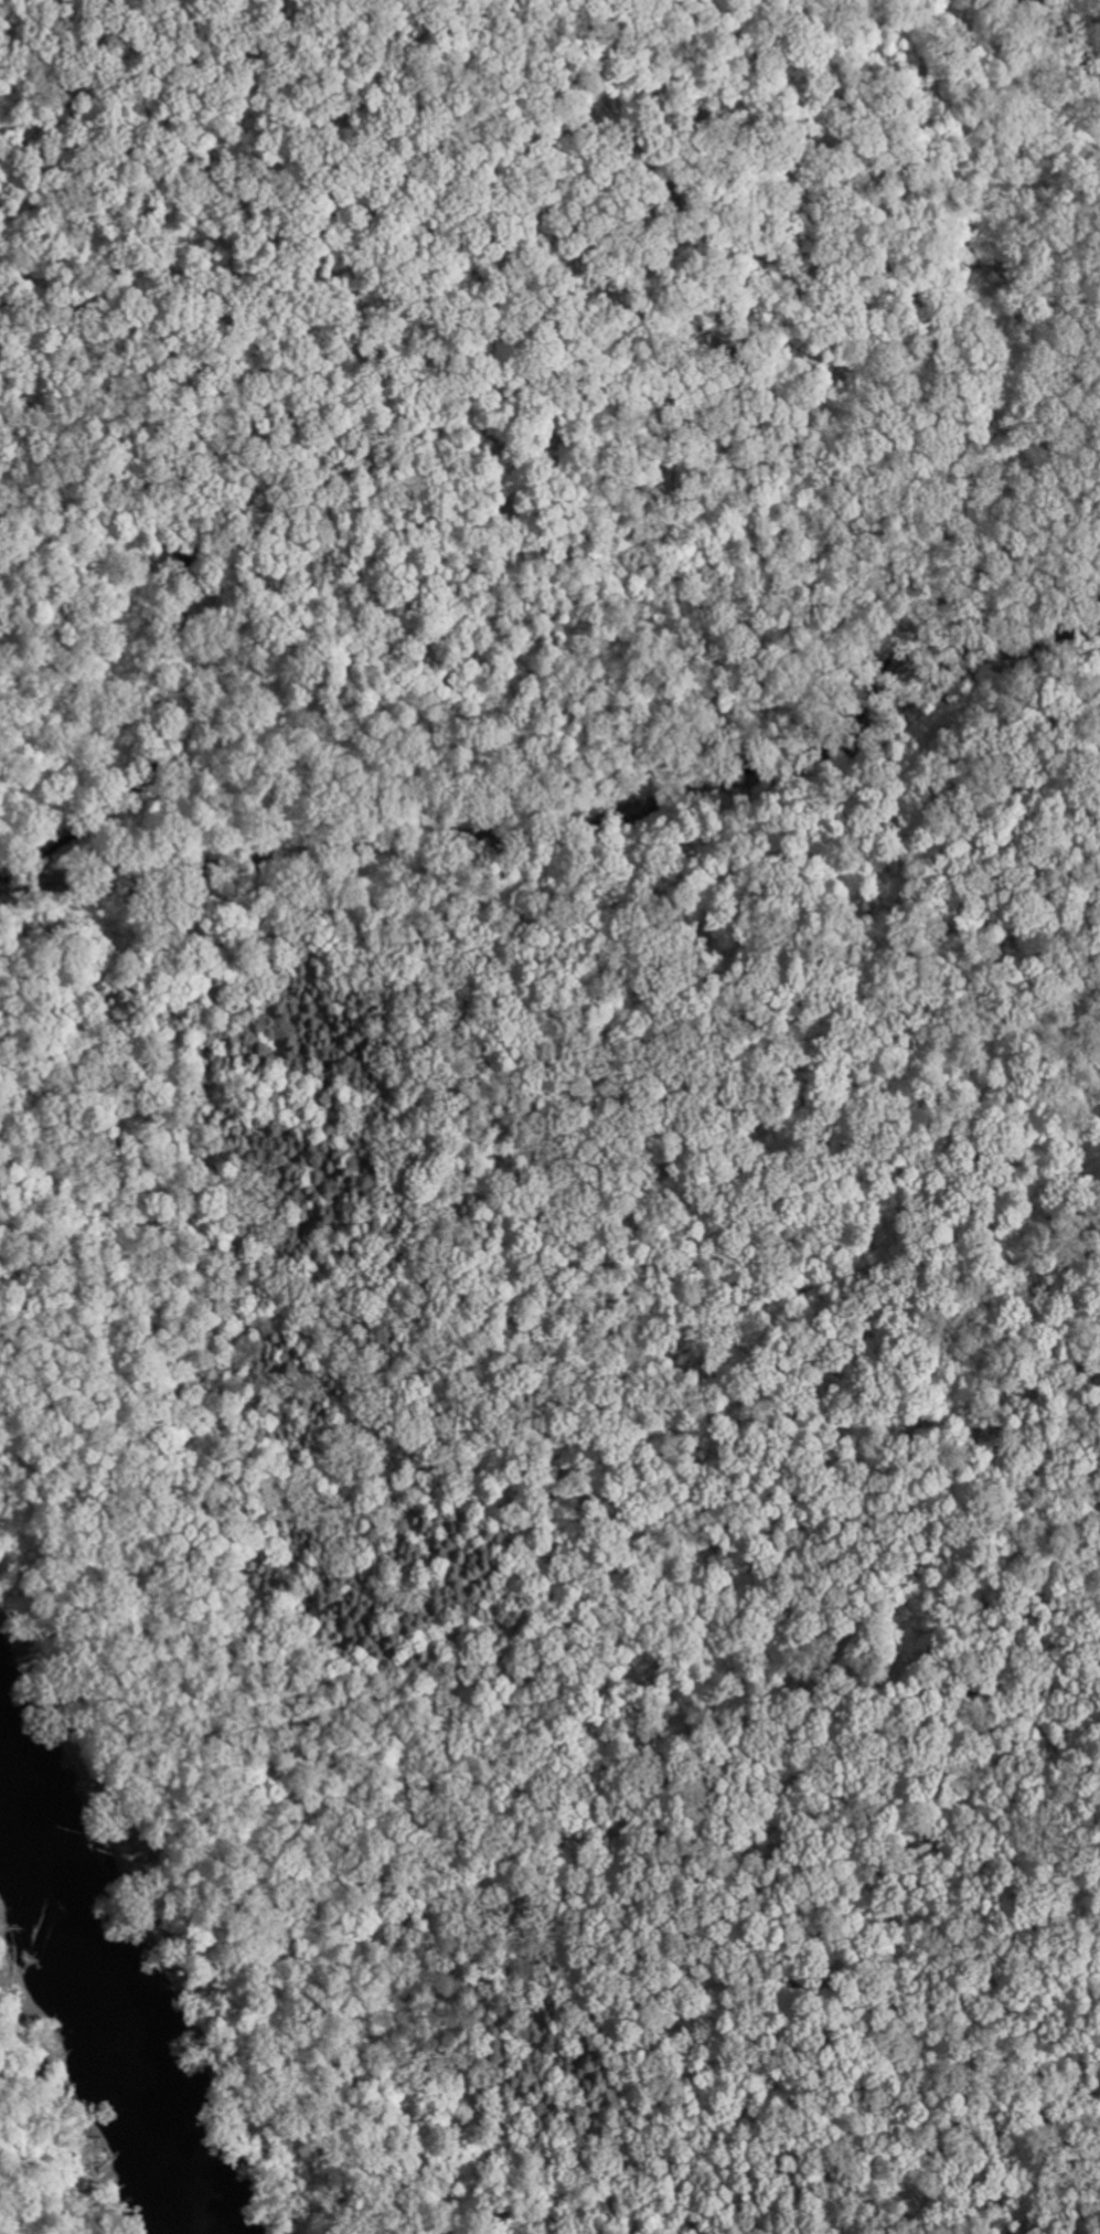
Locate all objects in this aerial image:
river: (110, 2012)

